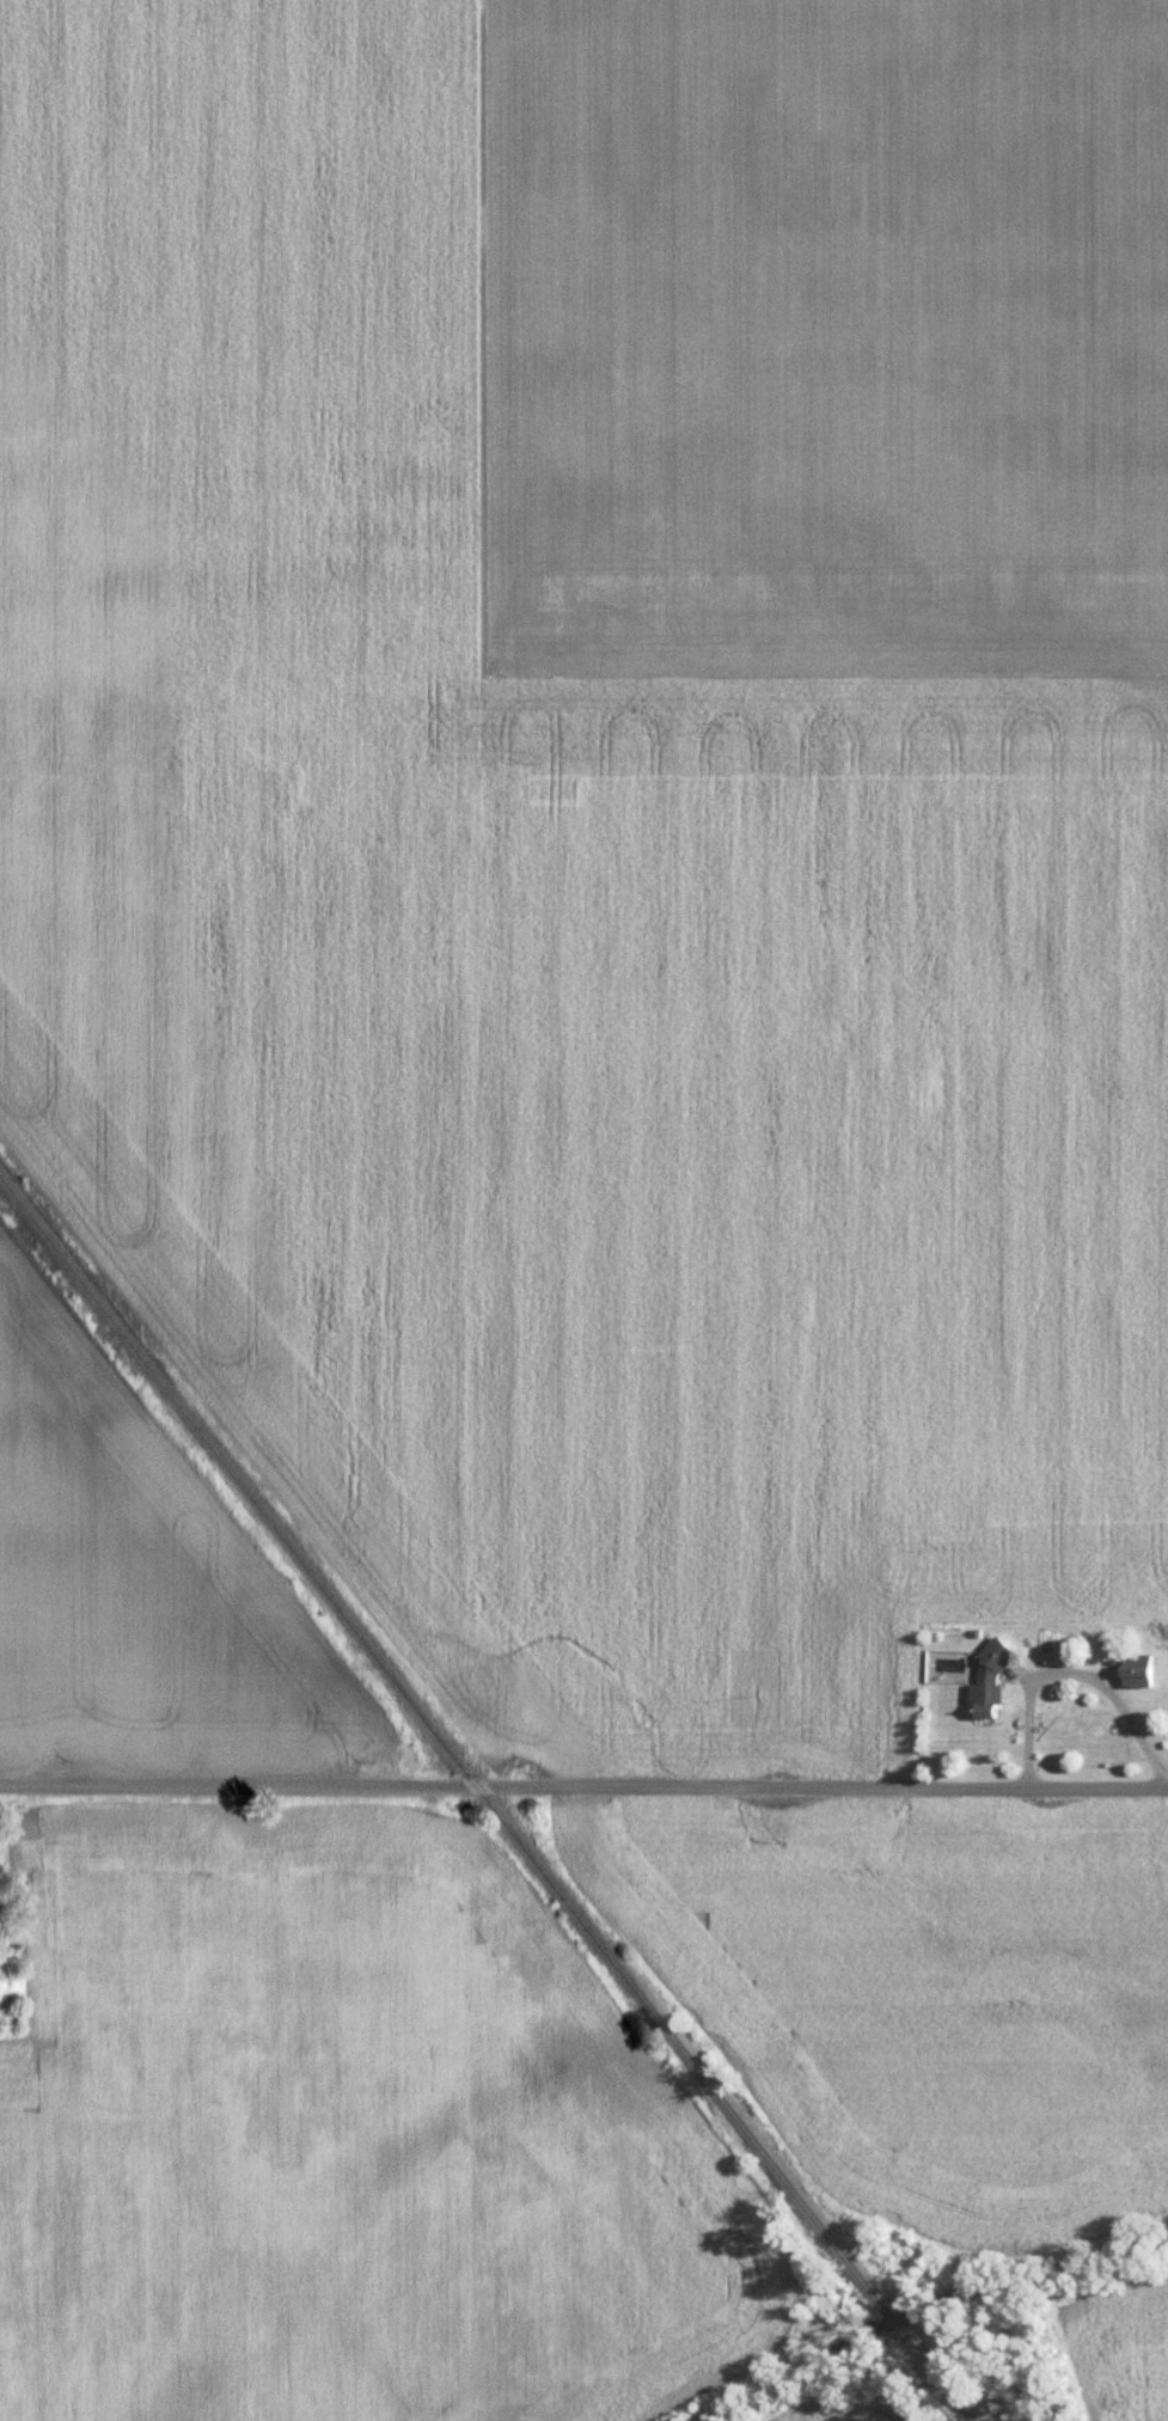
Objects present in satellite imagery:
building: (1144, 1670)
road: (1071, 1671)
building: (997, 1682)
railway: (434, 1728)
road: (583, 1786)
river: (921, 2293)
railway: (899, 2327)
railway: (952, 2394)

